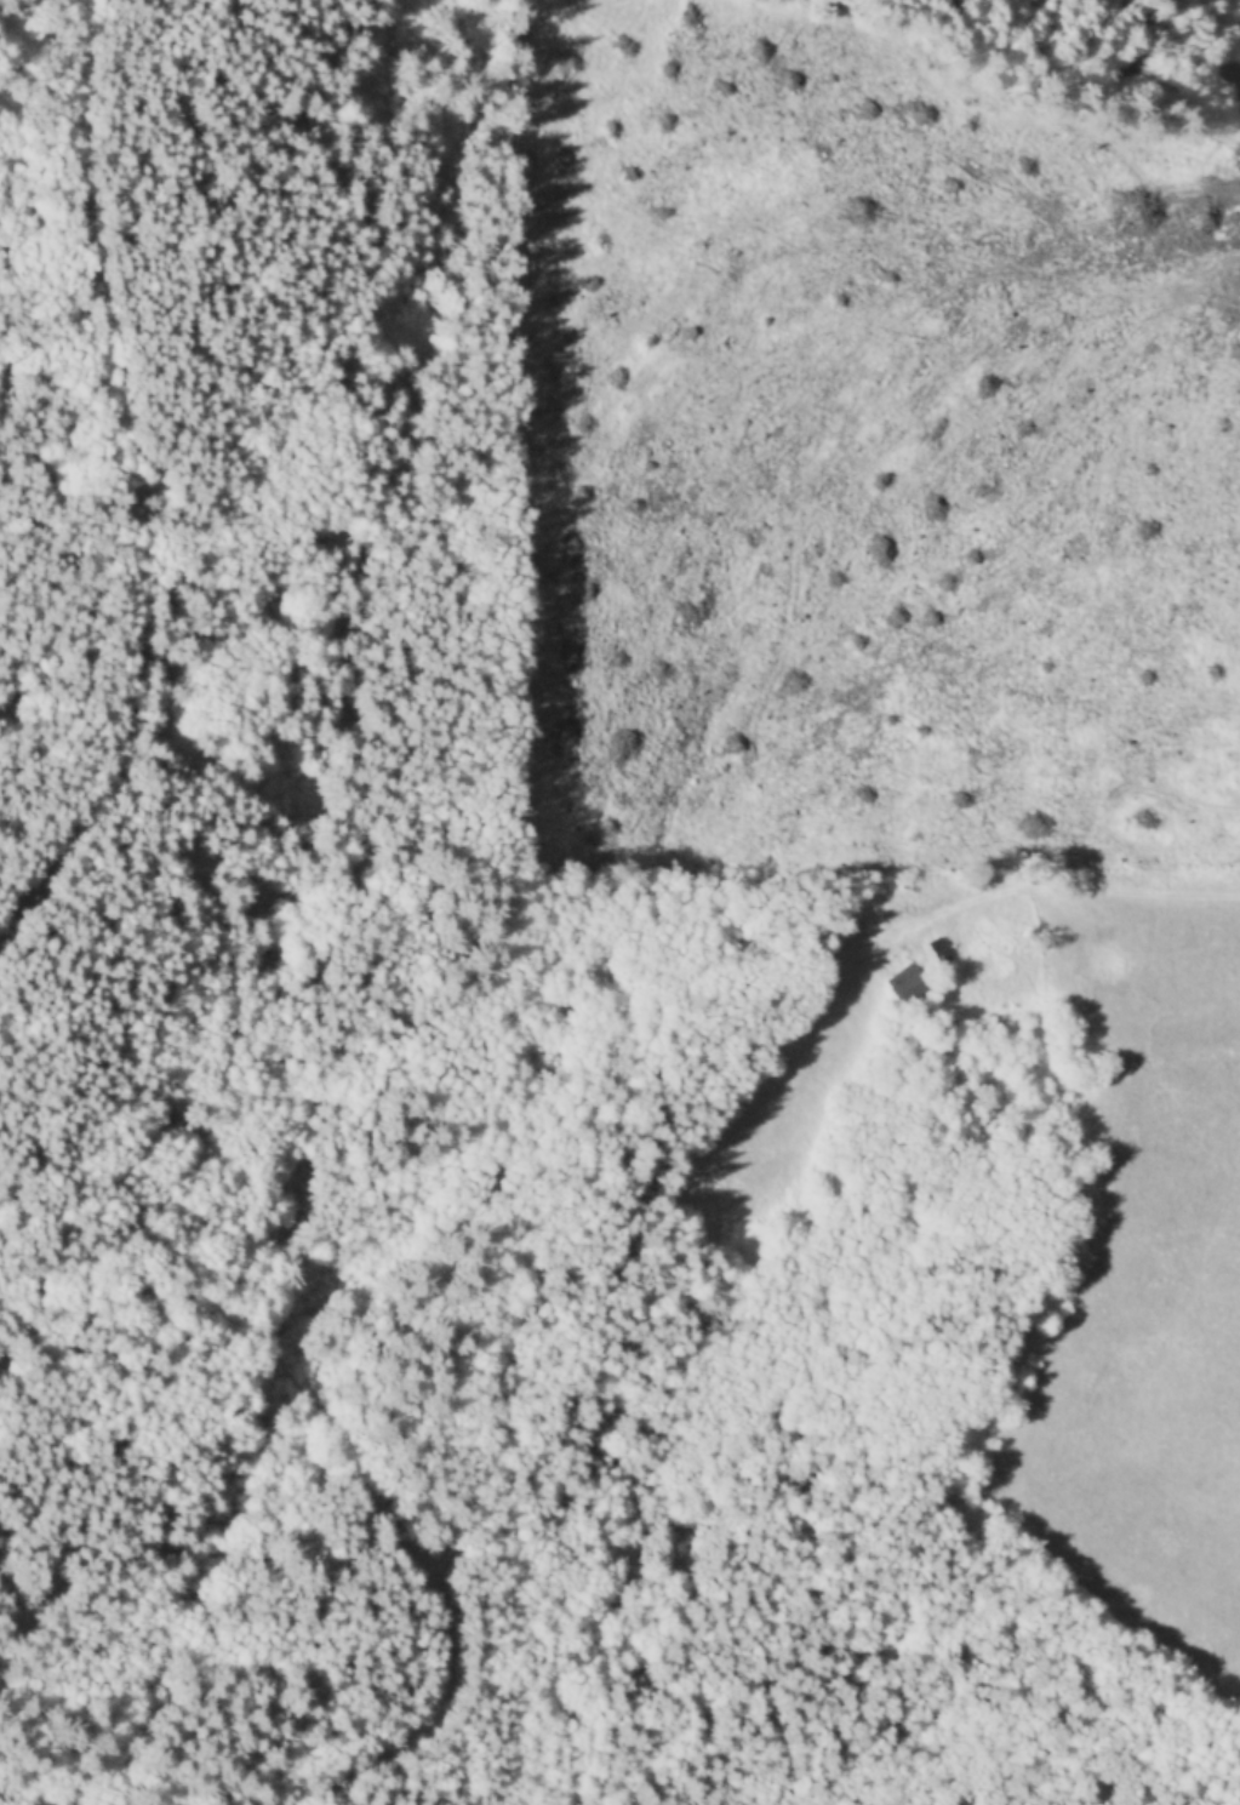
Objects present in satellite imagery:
building: (909, 987)

